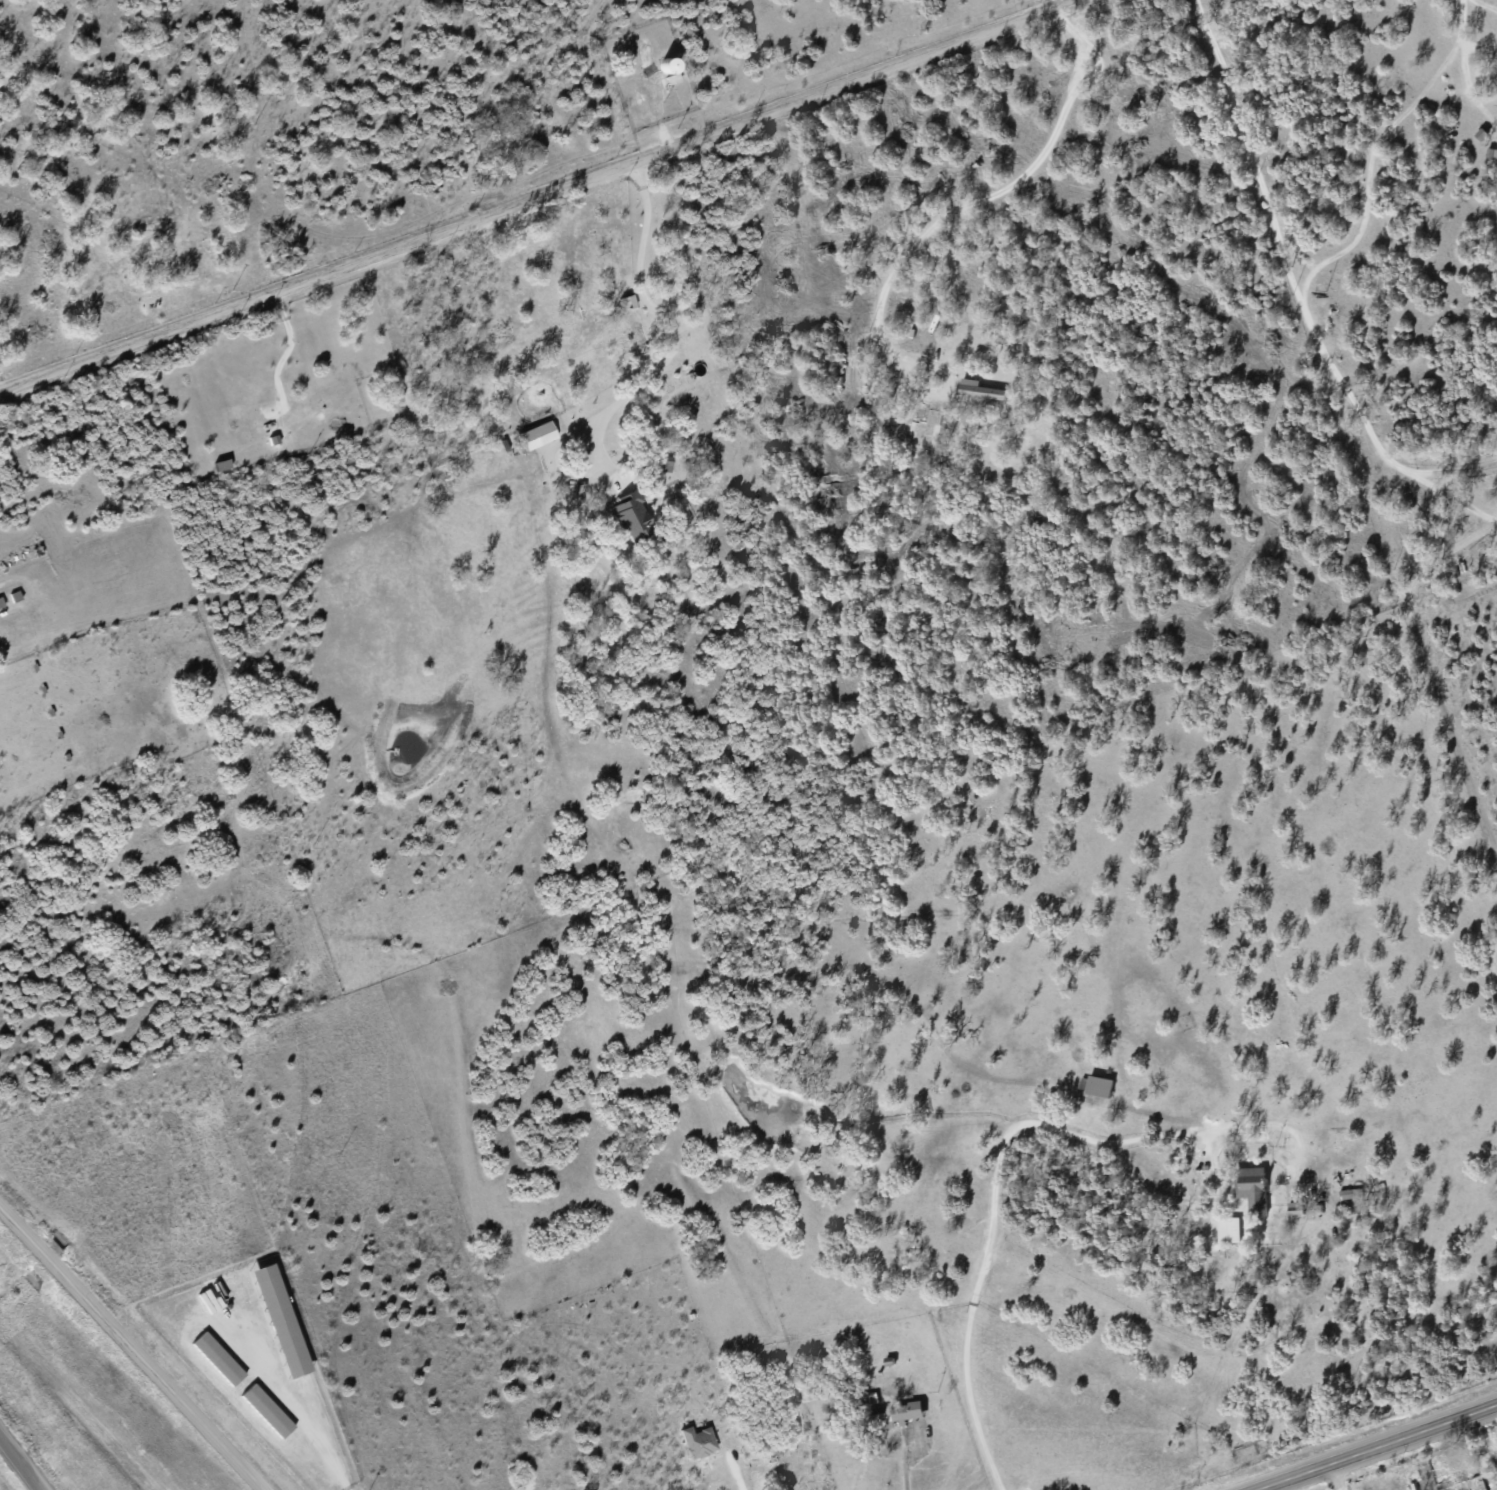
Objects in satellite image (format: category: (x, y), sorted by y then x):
road: (1488, 4)
road: (1463, 37)
building: (672, 78)
road: (1368, 161)
road: (544, 197)
road: (936, 220)
road: (1284, 256)
road: (669, 325)
building: (980, 390)
building: (542, 432)
building: (222, 464)
road: (1460, 472)
road: (1458, 501)
building: (631, 517)
building: (1, 603)
building: (1094, 1084)
road: (996, 1161)
building: (1251, 1188)
building: (1349, 1193)
building: (1294, 1207)
building: (1227, 1229)
building: (277, 1320)
road: (131, 1348)
building: (217, 1358)
building: (266, 1410)
road: (299, 1412)
building: (906, 1412)
building: (697, 1441)
road: (1379, 1448)
road: (20, 1463)
road: (903, 1468)
road: (739, 1475)
road: (1338, 1477)

